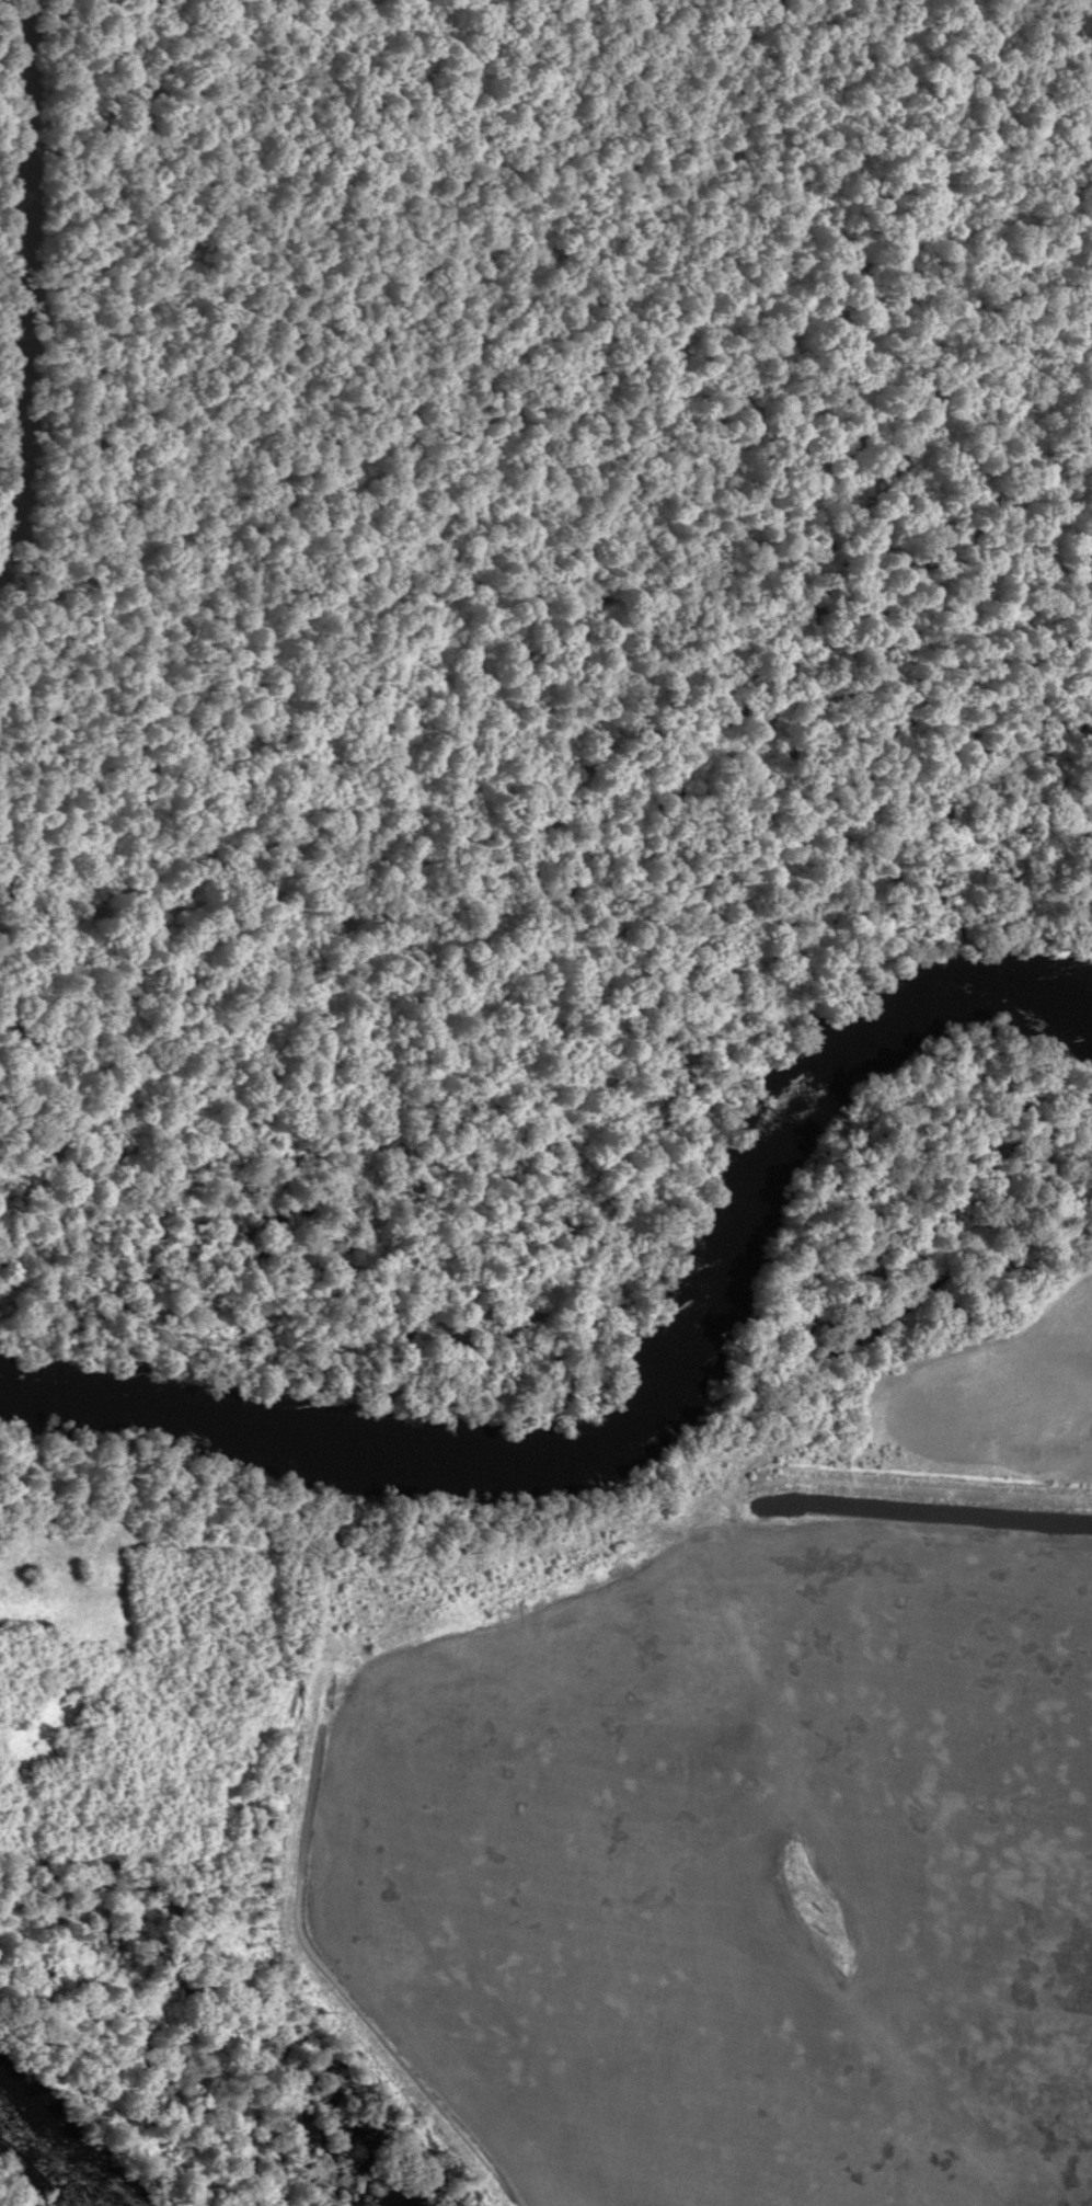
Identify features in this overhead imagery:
river: (656, 1410)
river: (64, 2158)

